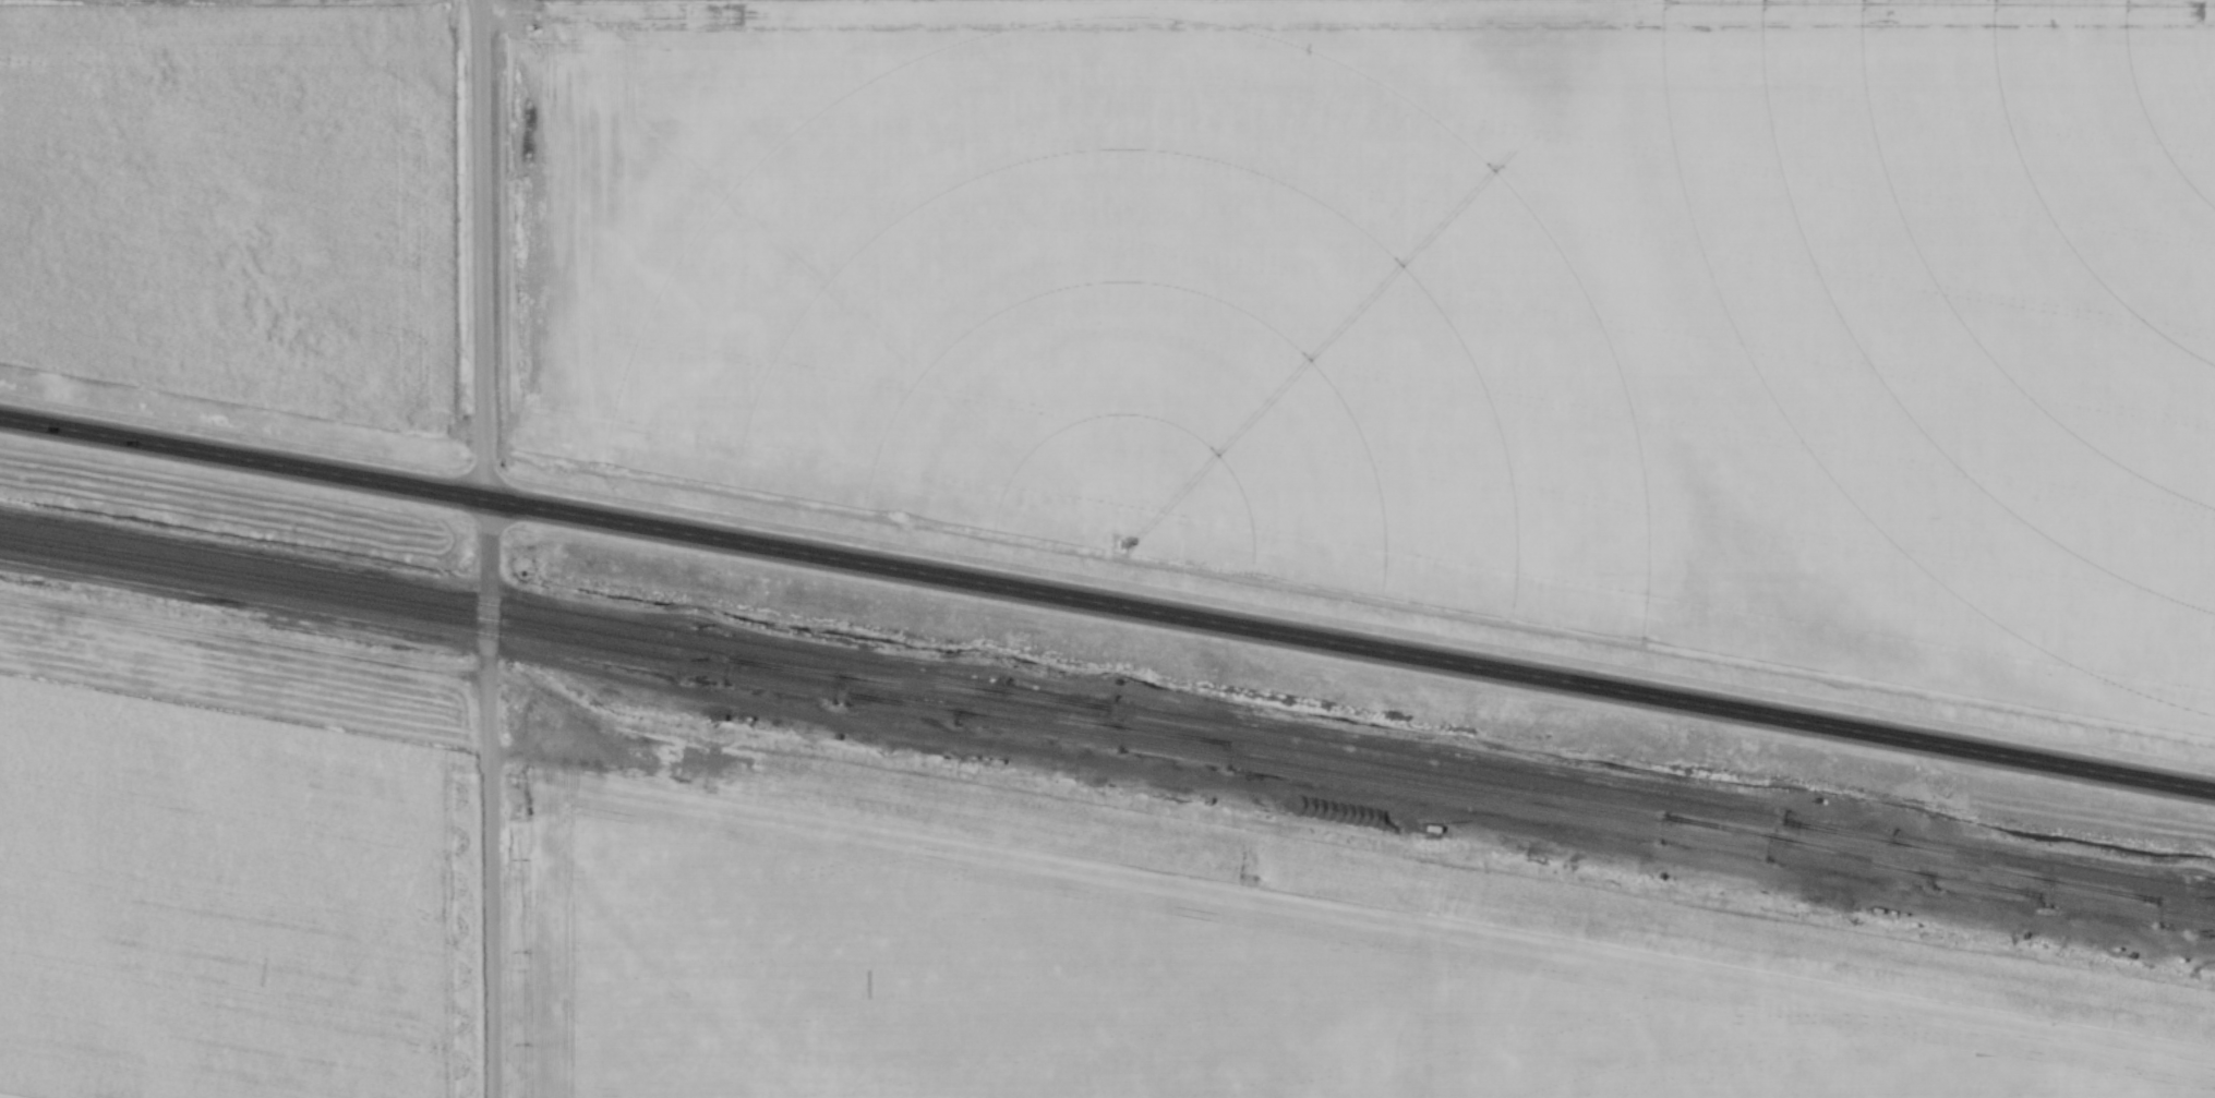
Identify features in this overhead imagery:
crop: (234, 201)
crop: (1433, 312)
road: (484, 548)
road: (1107, 604)
railway: (919, 684)
railway: (1107, 708)
railway: (1031, 717)
railway: (1107, 723)
railway: (1107, 737)
building: (1433, 829)
railway: (1855, 856)
railway: (1970, 861)

